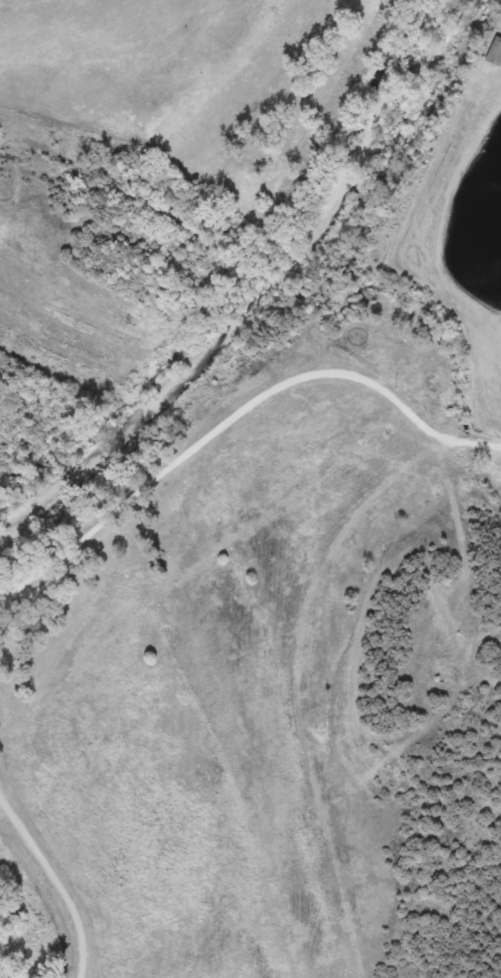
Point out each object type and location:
road: (233, 401)
road: (57, 884)

